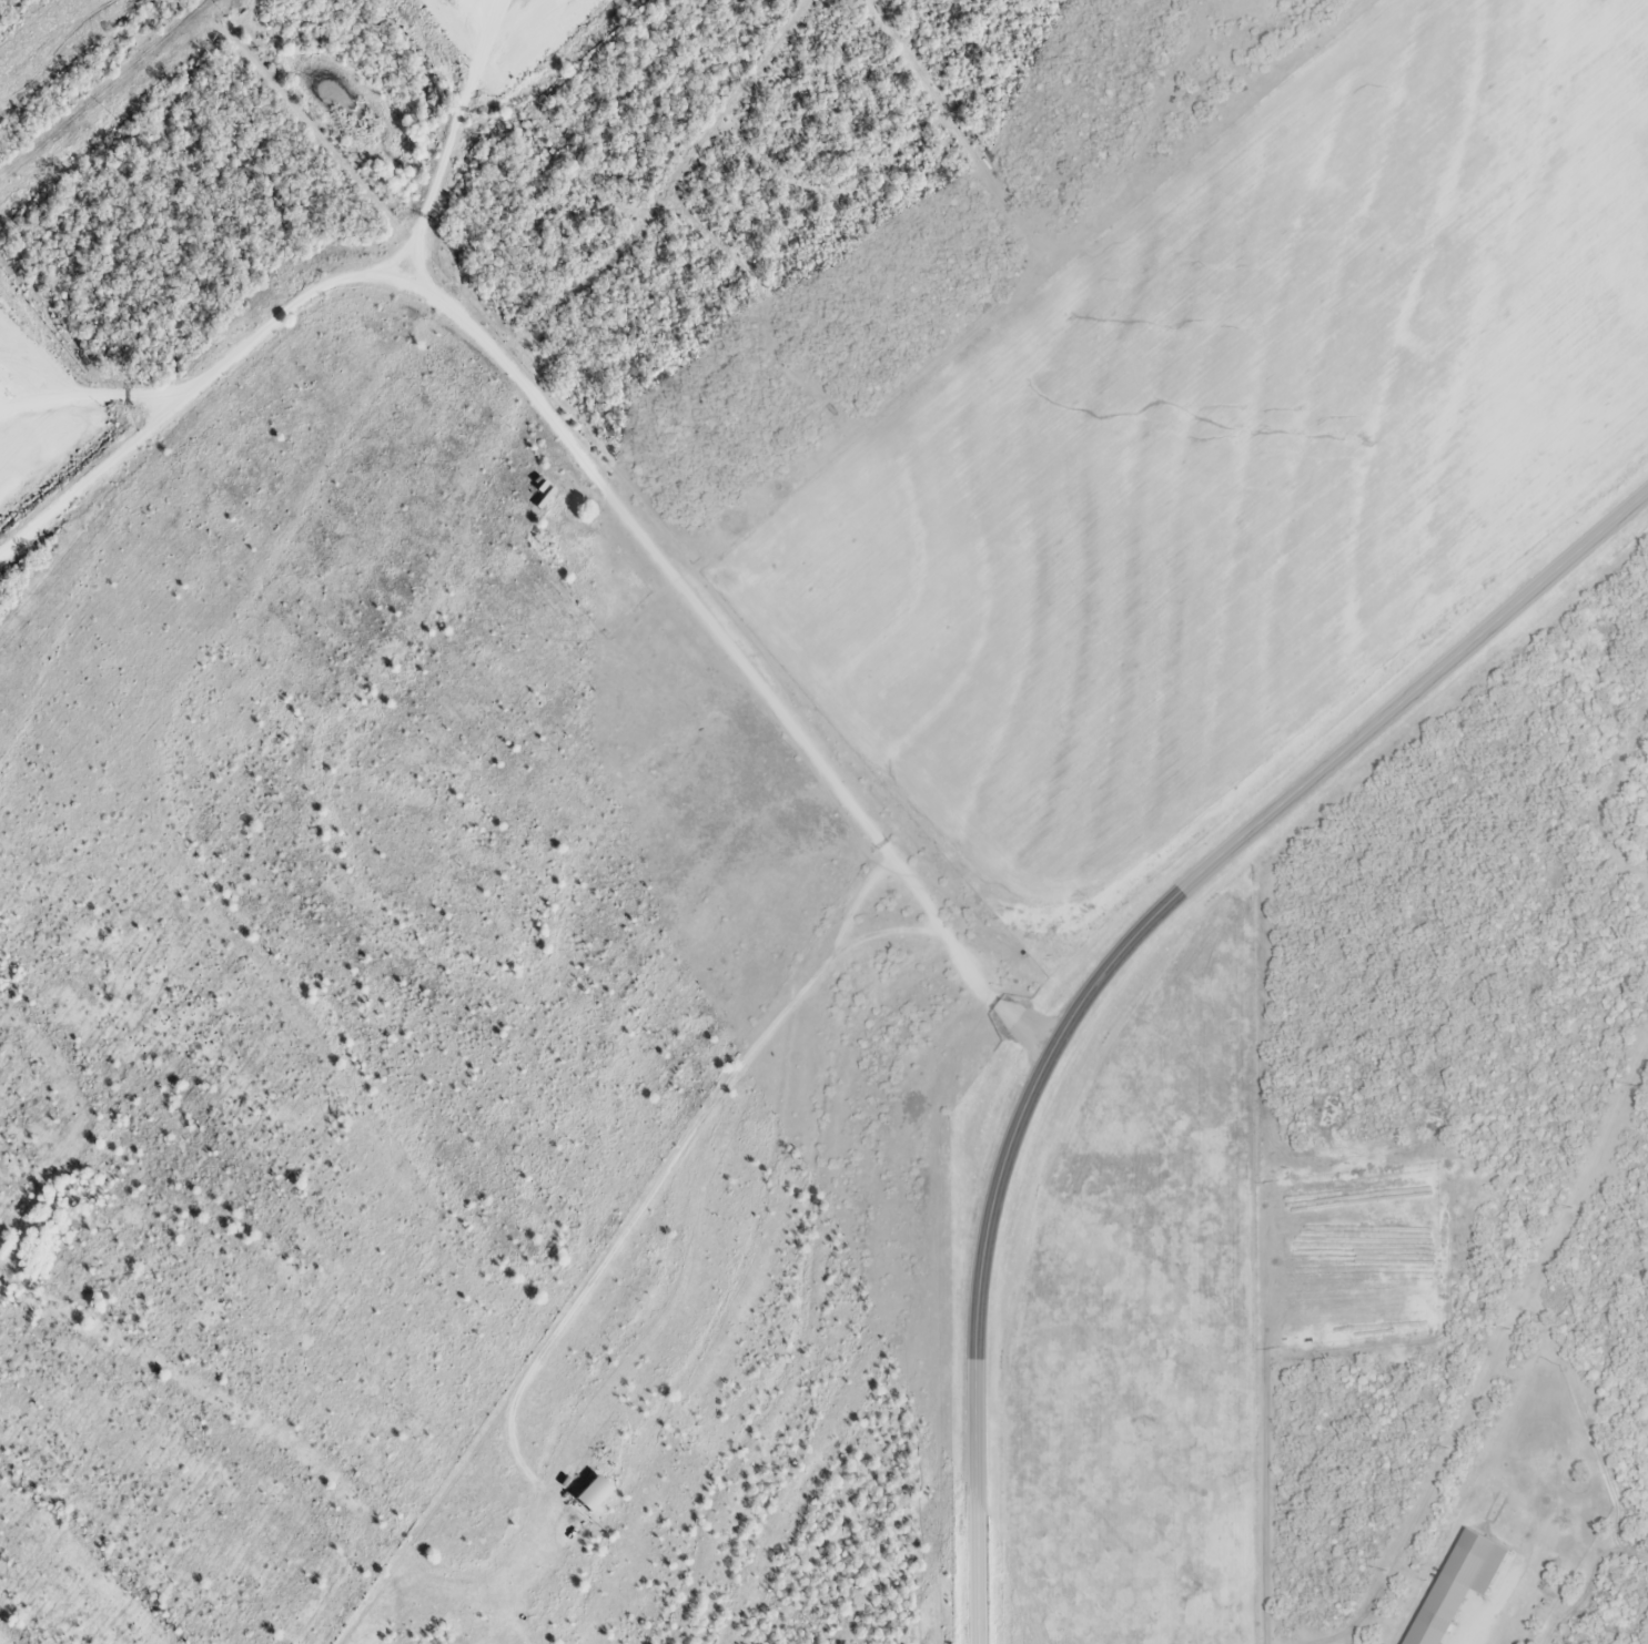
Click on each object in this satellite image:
road: (446, 138)
road: (88, 394)
road: (580, 461)
road: (1114, 964)
building: (589, 1494)

